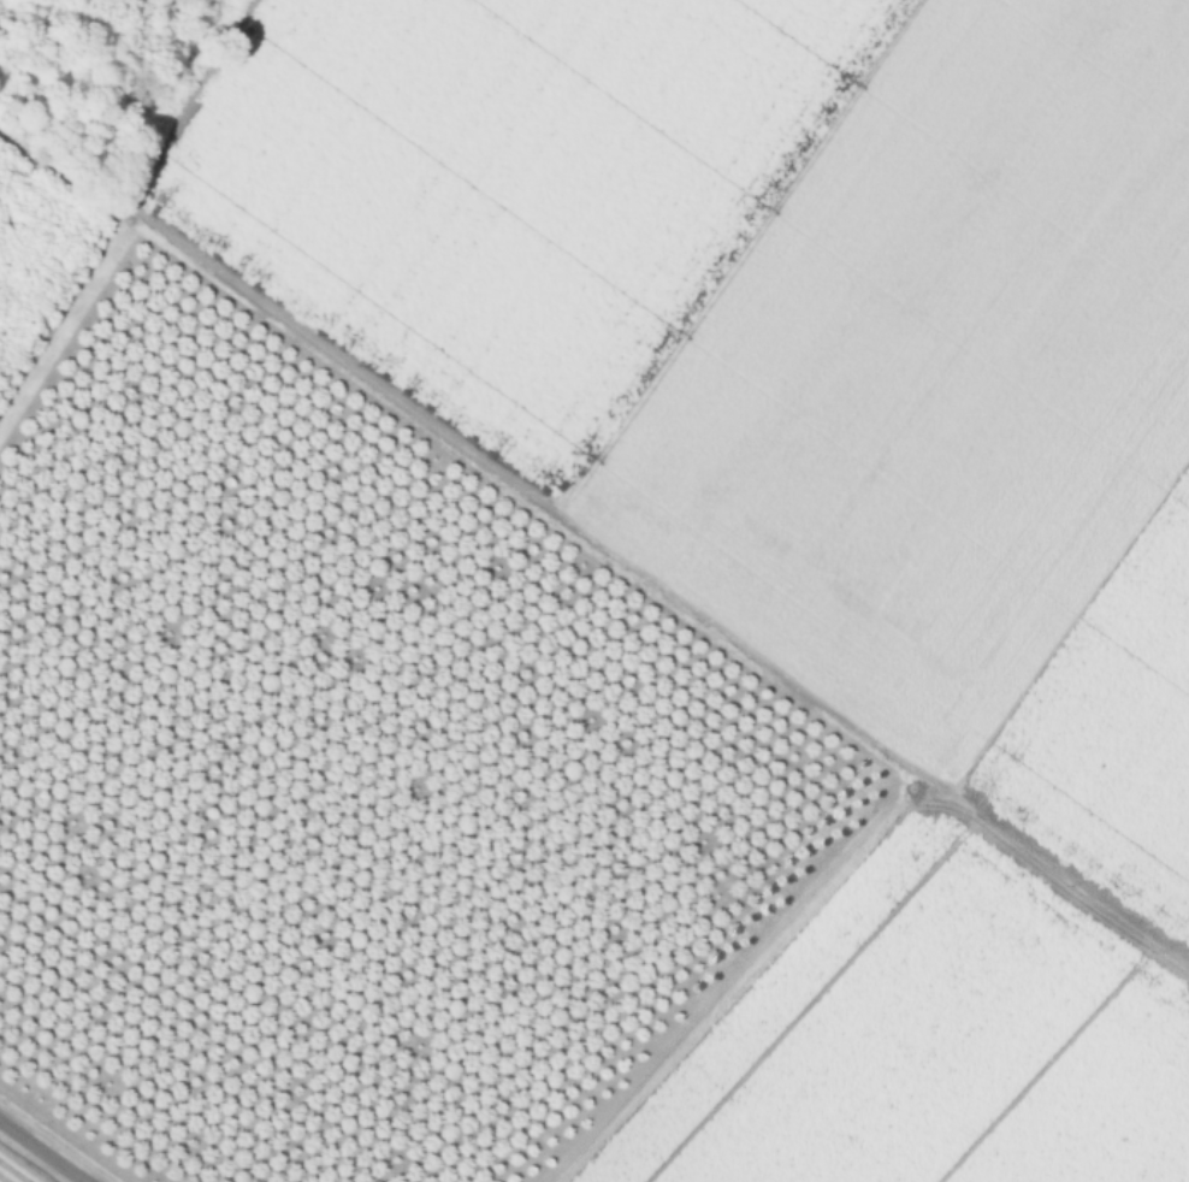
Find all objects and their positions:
crop: (812, 485)
road: (41, 1152)
crop: (18, 1168)

